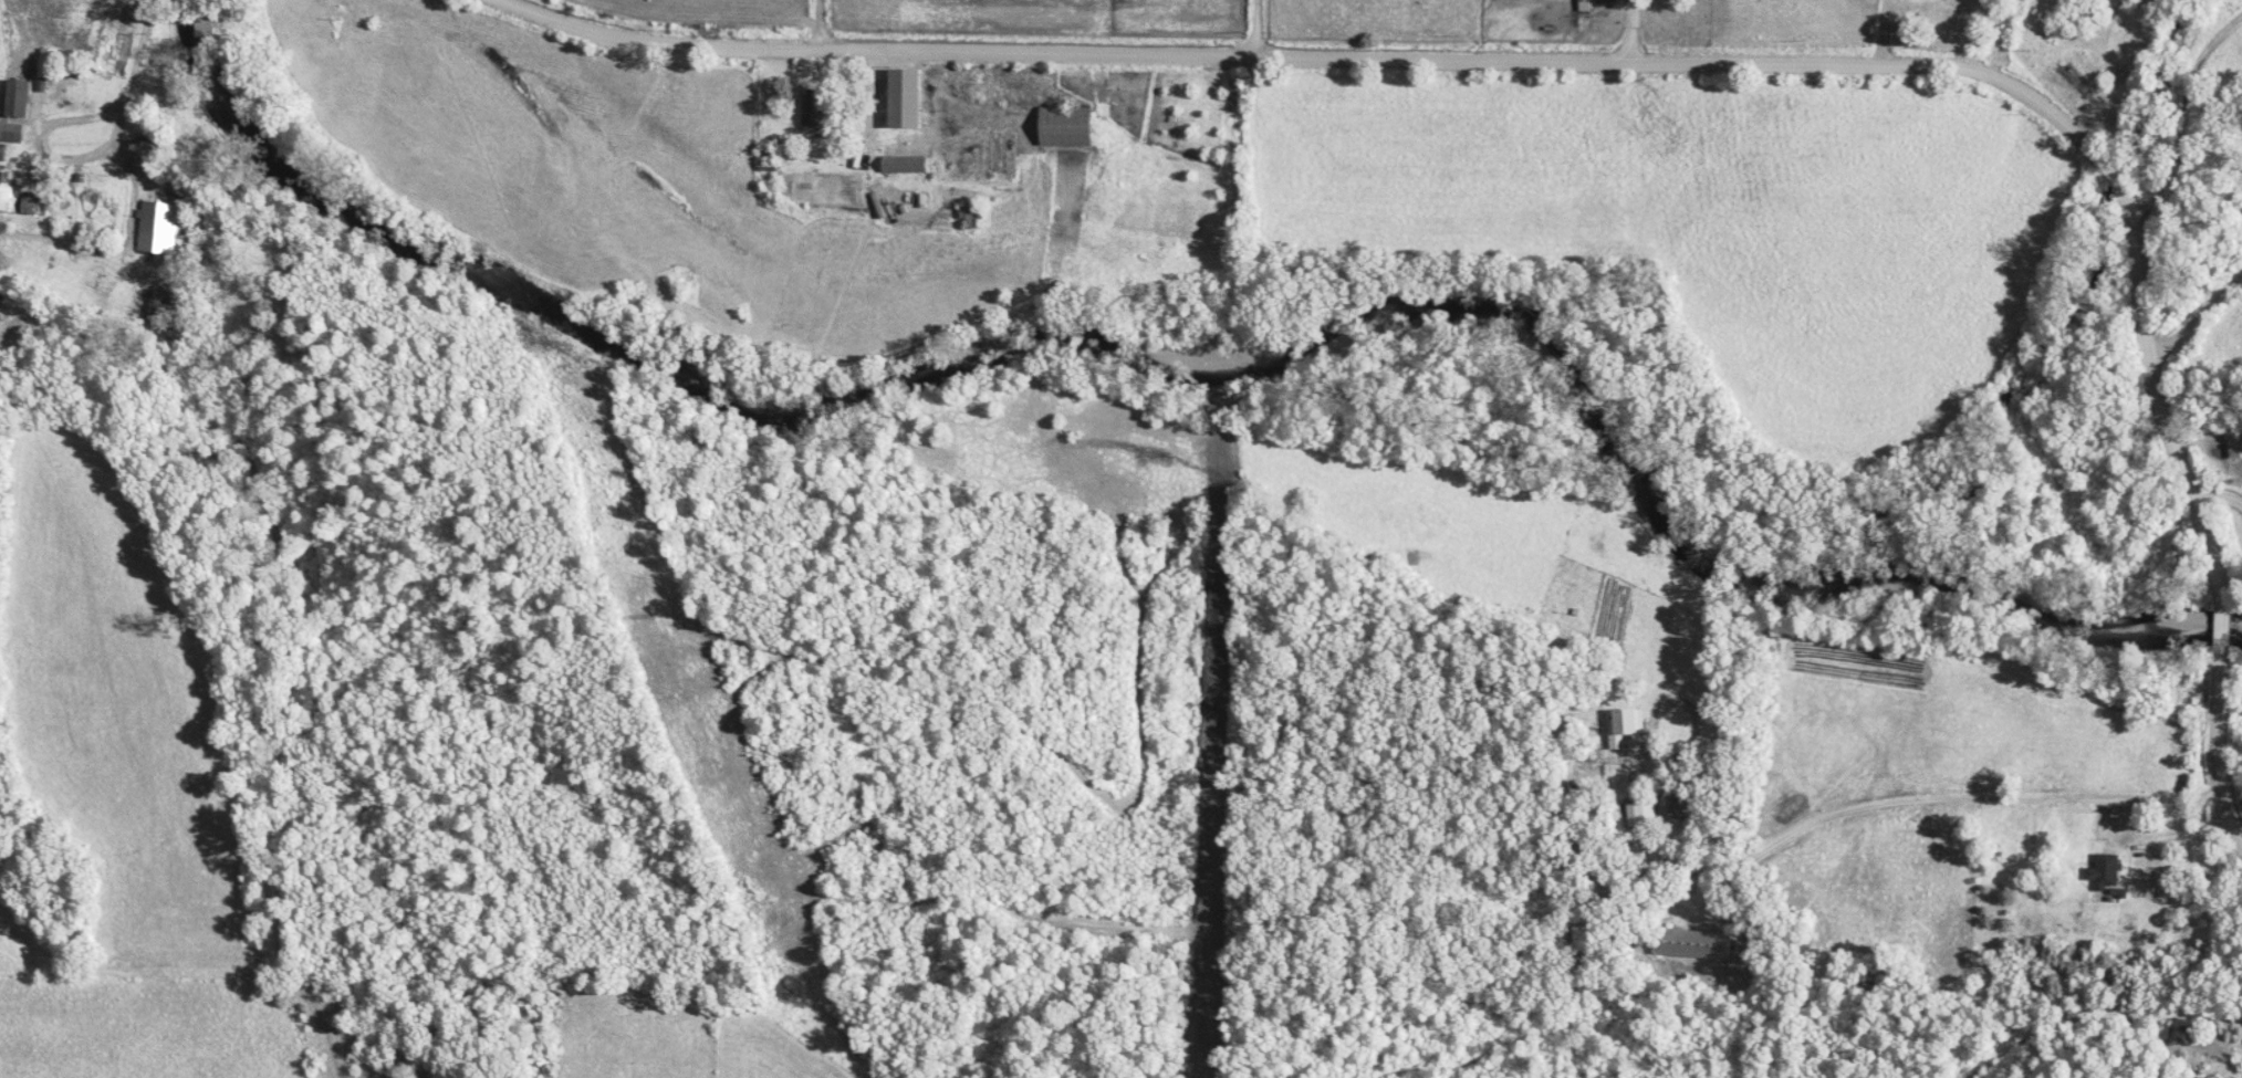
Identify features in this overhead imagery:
building: (1603, 1)
road: (822, 25)
road: (1245, 29)
road: (1625, 33)
road: (1871, 35)
road: (1985, 39)
road: (126, 61)
building: (51, 65)
road: (1664, 67)
building: (22, 100)
building: (916, 100)
road: (861, 103)
road: (1174, 107)
road: (2178, 114)
building: (815, 118)
building: (1074, 128)
building: (12, 133)
building: (4, 155)
building: (150, 157)
road: (52, 160)
building: (910, 166)
building: (10, 195)
building: (160, 228)
road: (2189, 320)
building: (2235, 450)
road: (2213, 500)
building: (1631, 729)
road: (1884, 803)
building: (2102, 871)
building: (1696, 944)
road: (2089, 1011)

